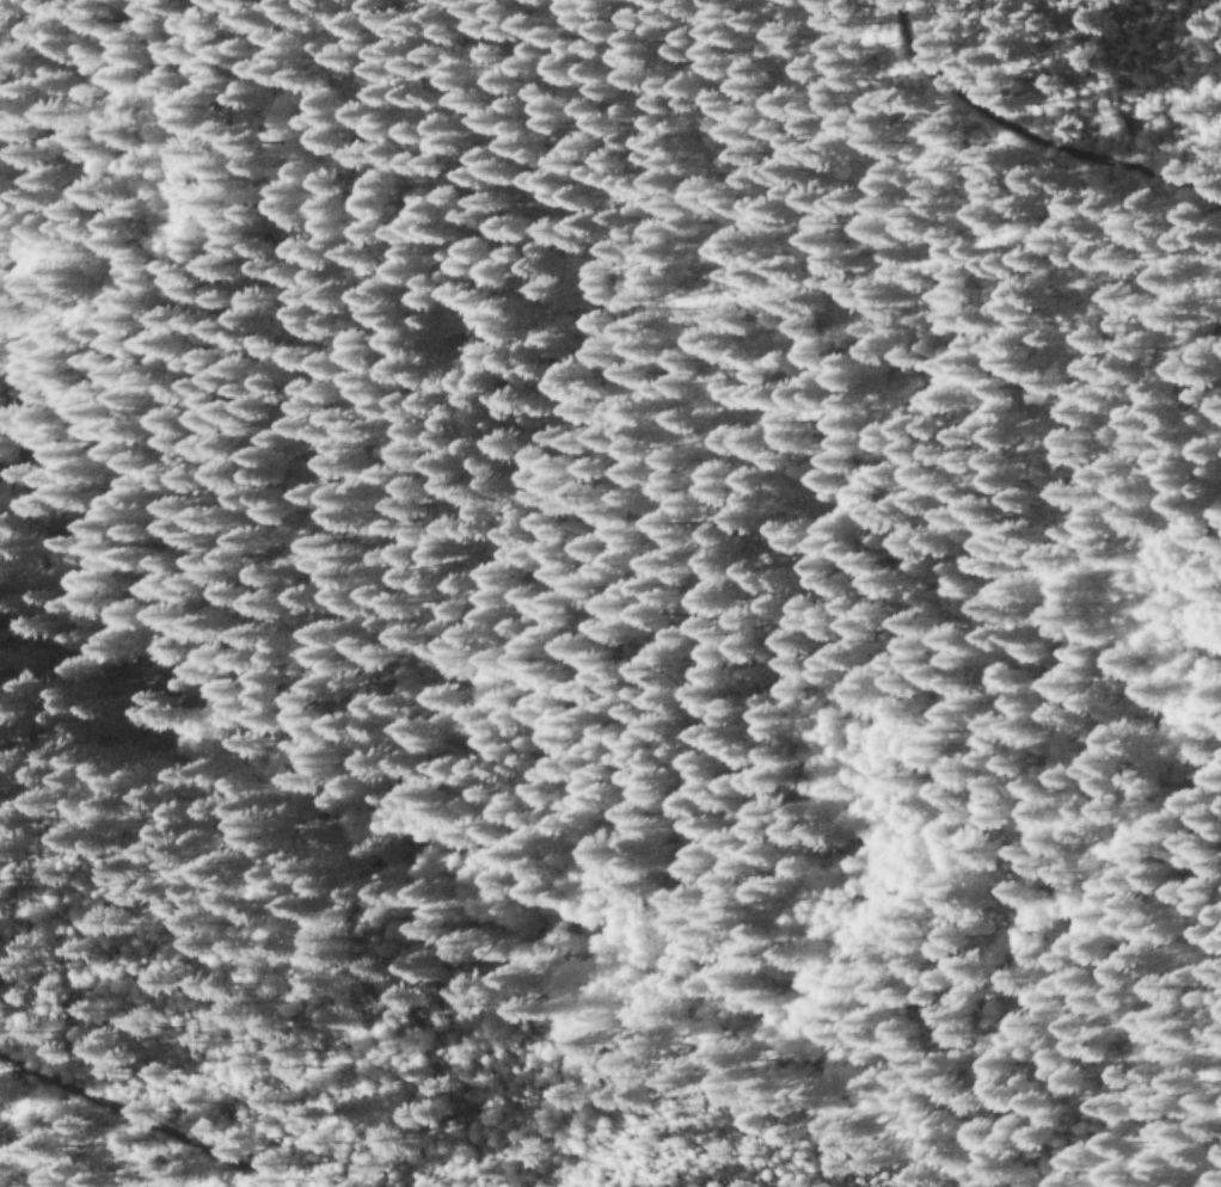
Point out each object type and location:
road: (1033, 141)
road: (135, 1117)

